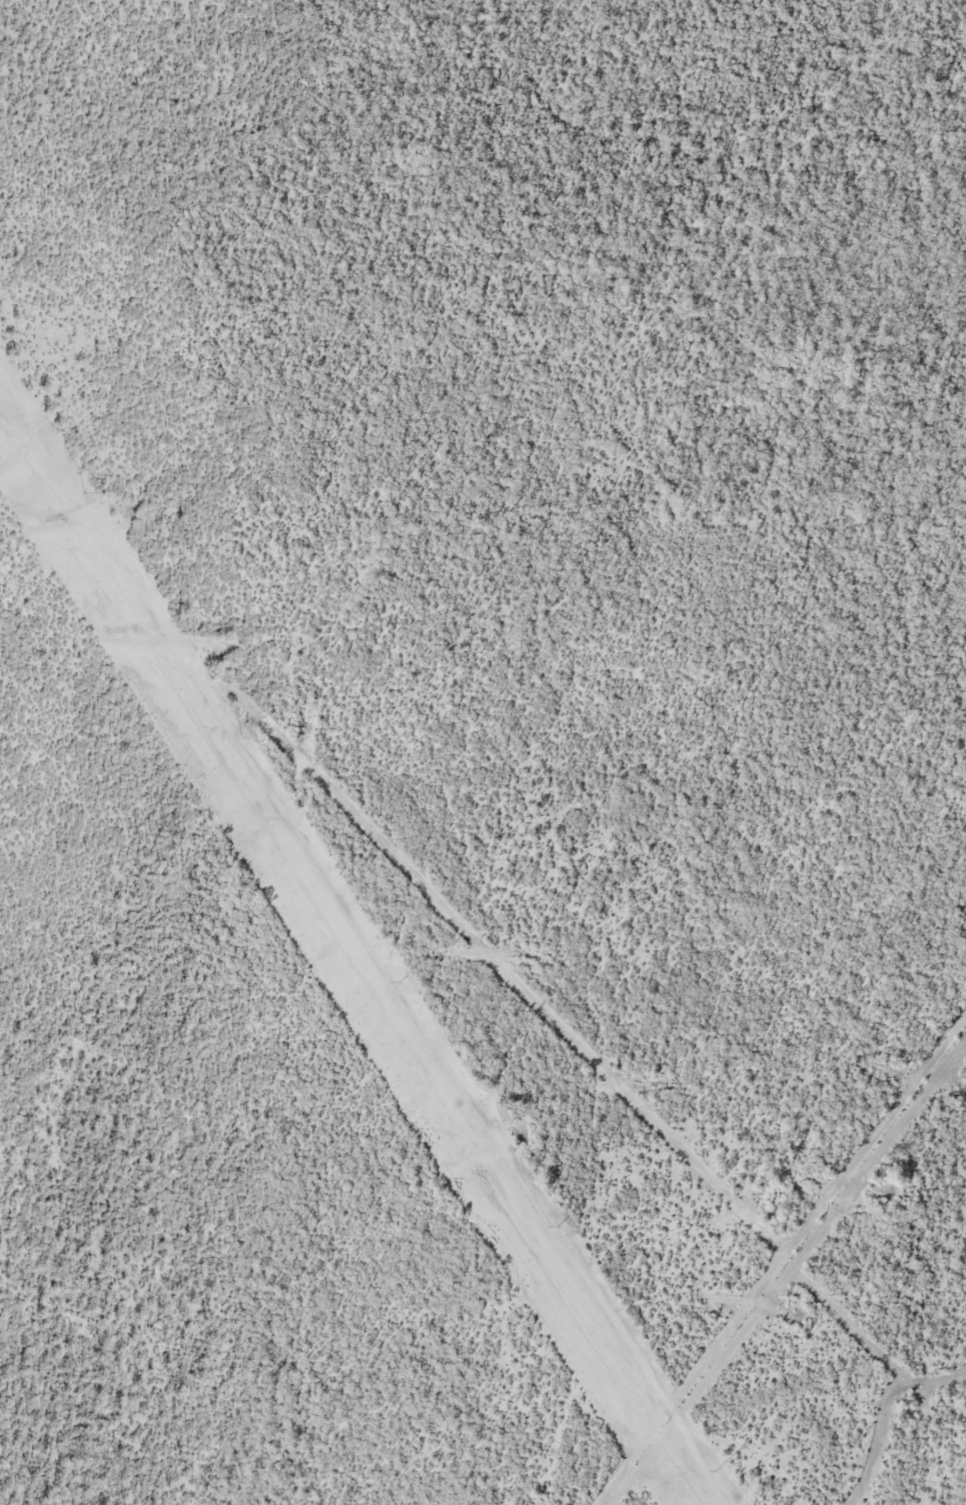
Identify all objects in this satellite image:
power tower: (83, 491)
power tower: (241, 736)
power tower: (398, 981)
power tower: (556, 1225)
power tower: (713, 1470)

